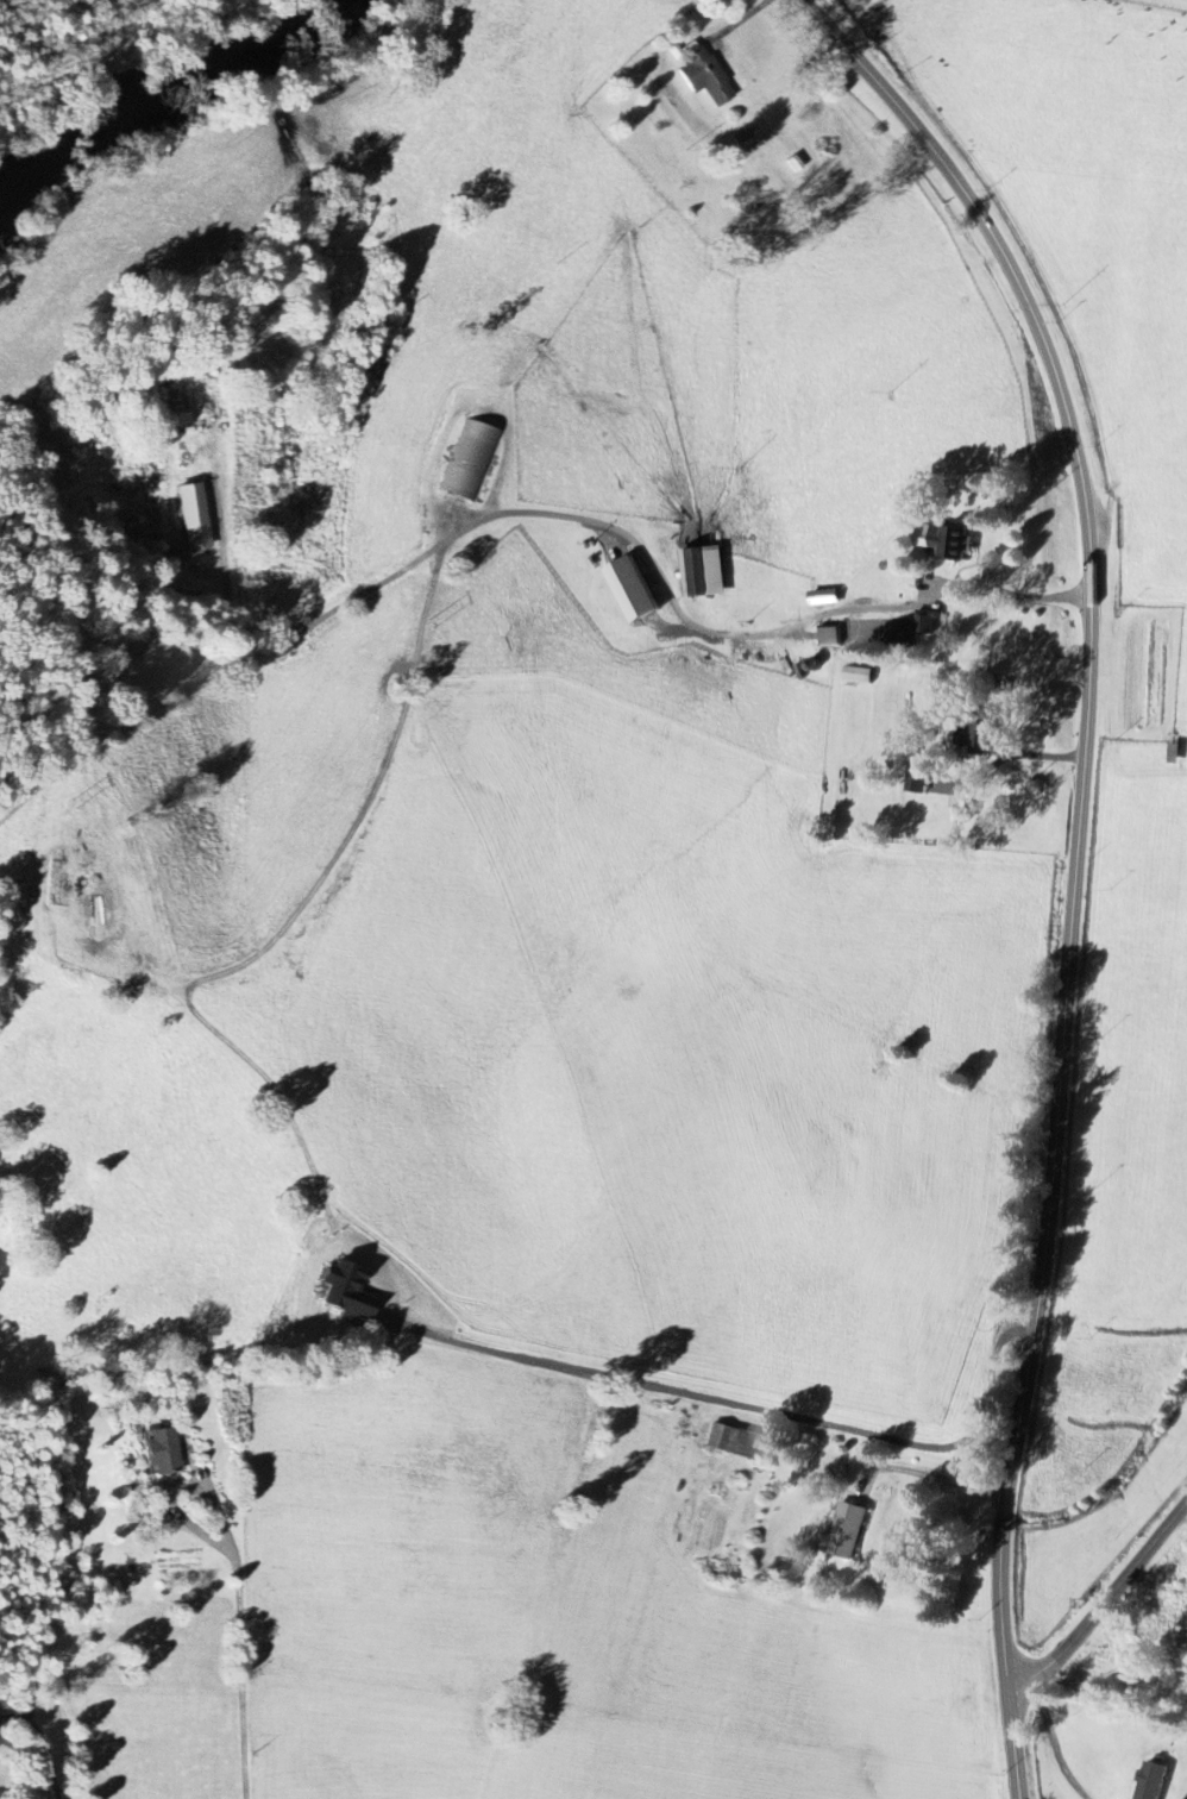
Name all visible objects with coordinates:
building: (706, 75)
river: (168, 98)
building: (745, 140)
building: (182, 420)
building: (469, 459)
building: (195, 516)
road: (586, 522)
building: (949, 541)
building: (703, 572)
building: (635, 590)
building: (927, 623)
building: (833, 637)
building: (861, 676)
building: (919, 778)
building: (935, 779)
road: (1079, 859)
building: (357, 1289)
road: (746, 1405)
building: (731, 1441)
building: (164, 1450)
road: (921, 1474)
building: (847, 1531)
road: (1103, 1601)
road: (238, 1641)
road: (1113, 1668)
building: (1155, 1781)

